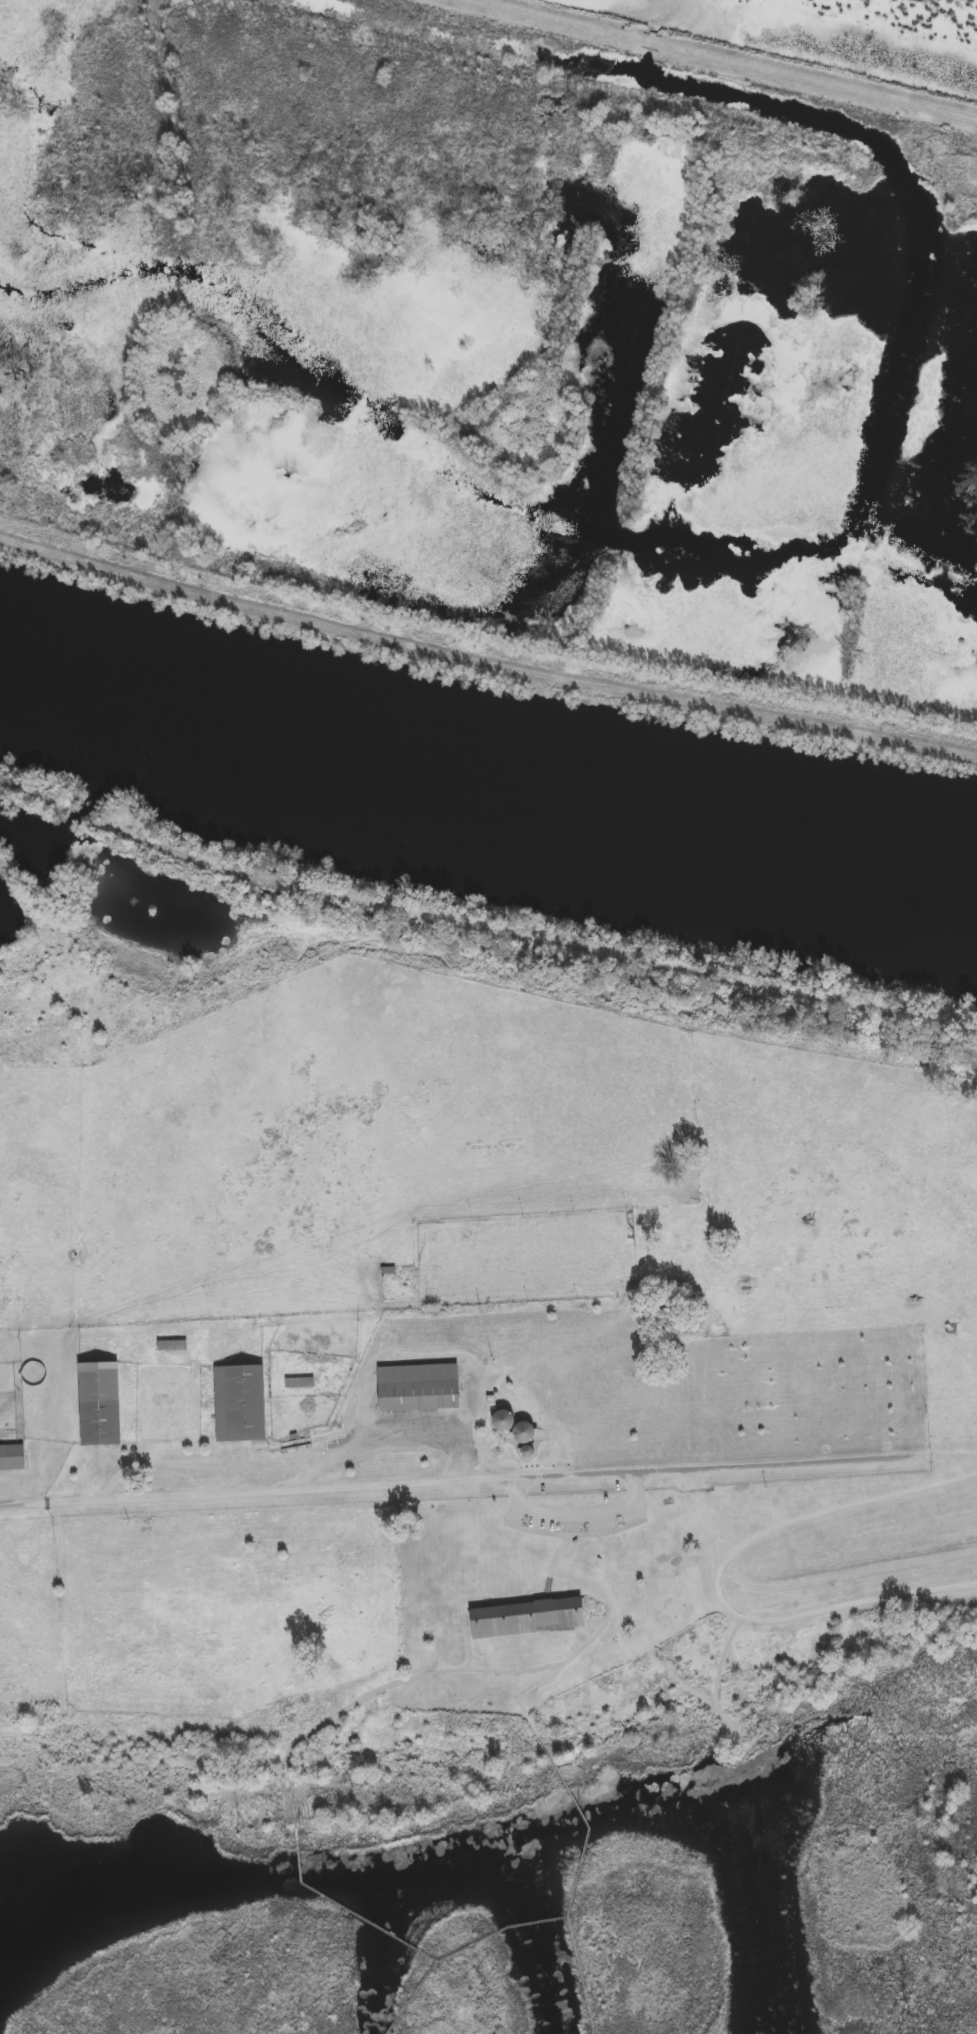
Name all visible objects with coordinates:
road: (728, 59)
building: (417, 1385)
building: (99, 1400)
building: (239, 1400)
building: (503, 1417)
road: (388, 1425)
building: (523, 1430)
building: (12, 1455)
road: (256, 1462)
road: (488, 1478)
road: (576, 1513)
road: (795, 1586)
building: (524, 1614)

